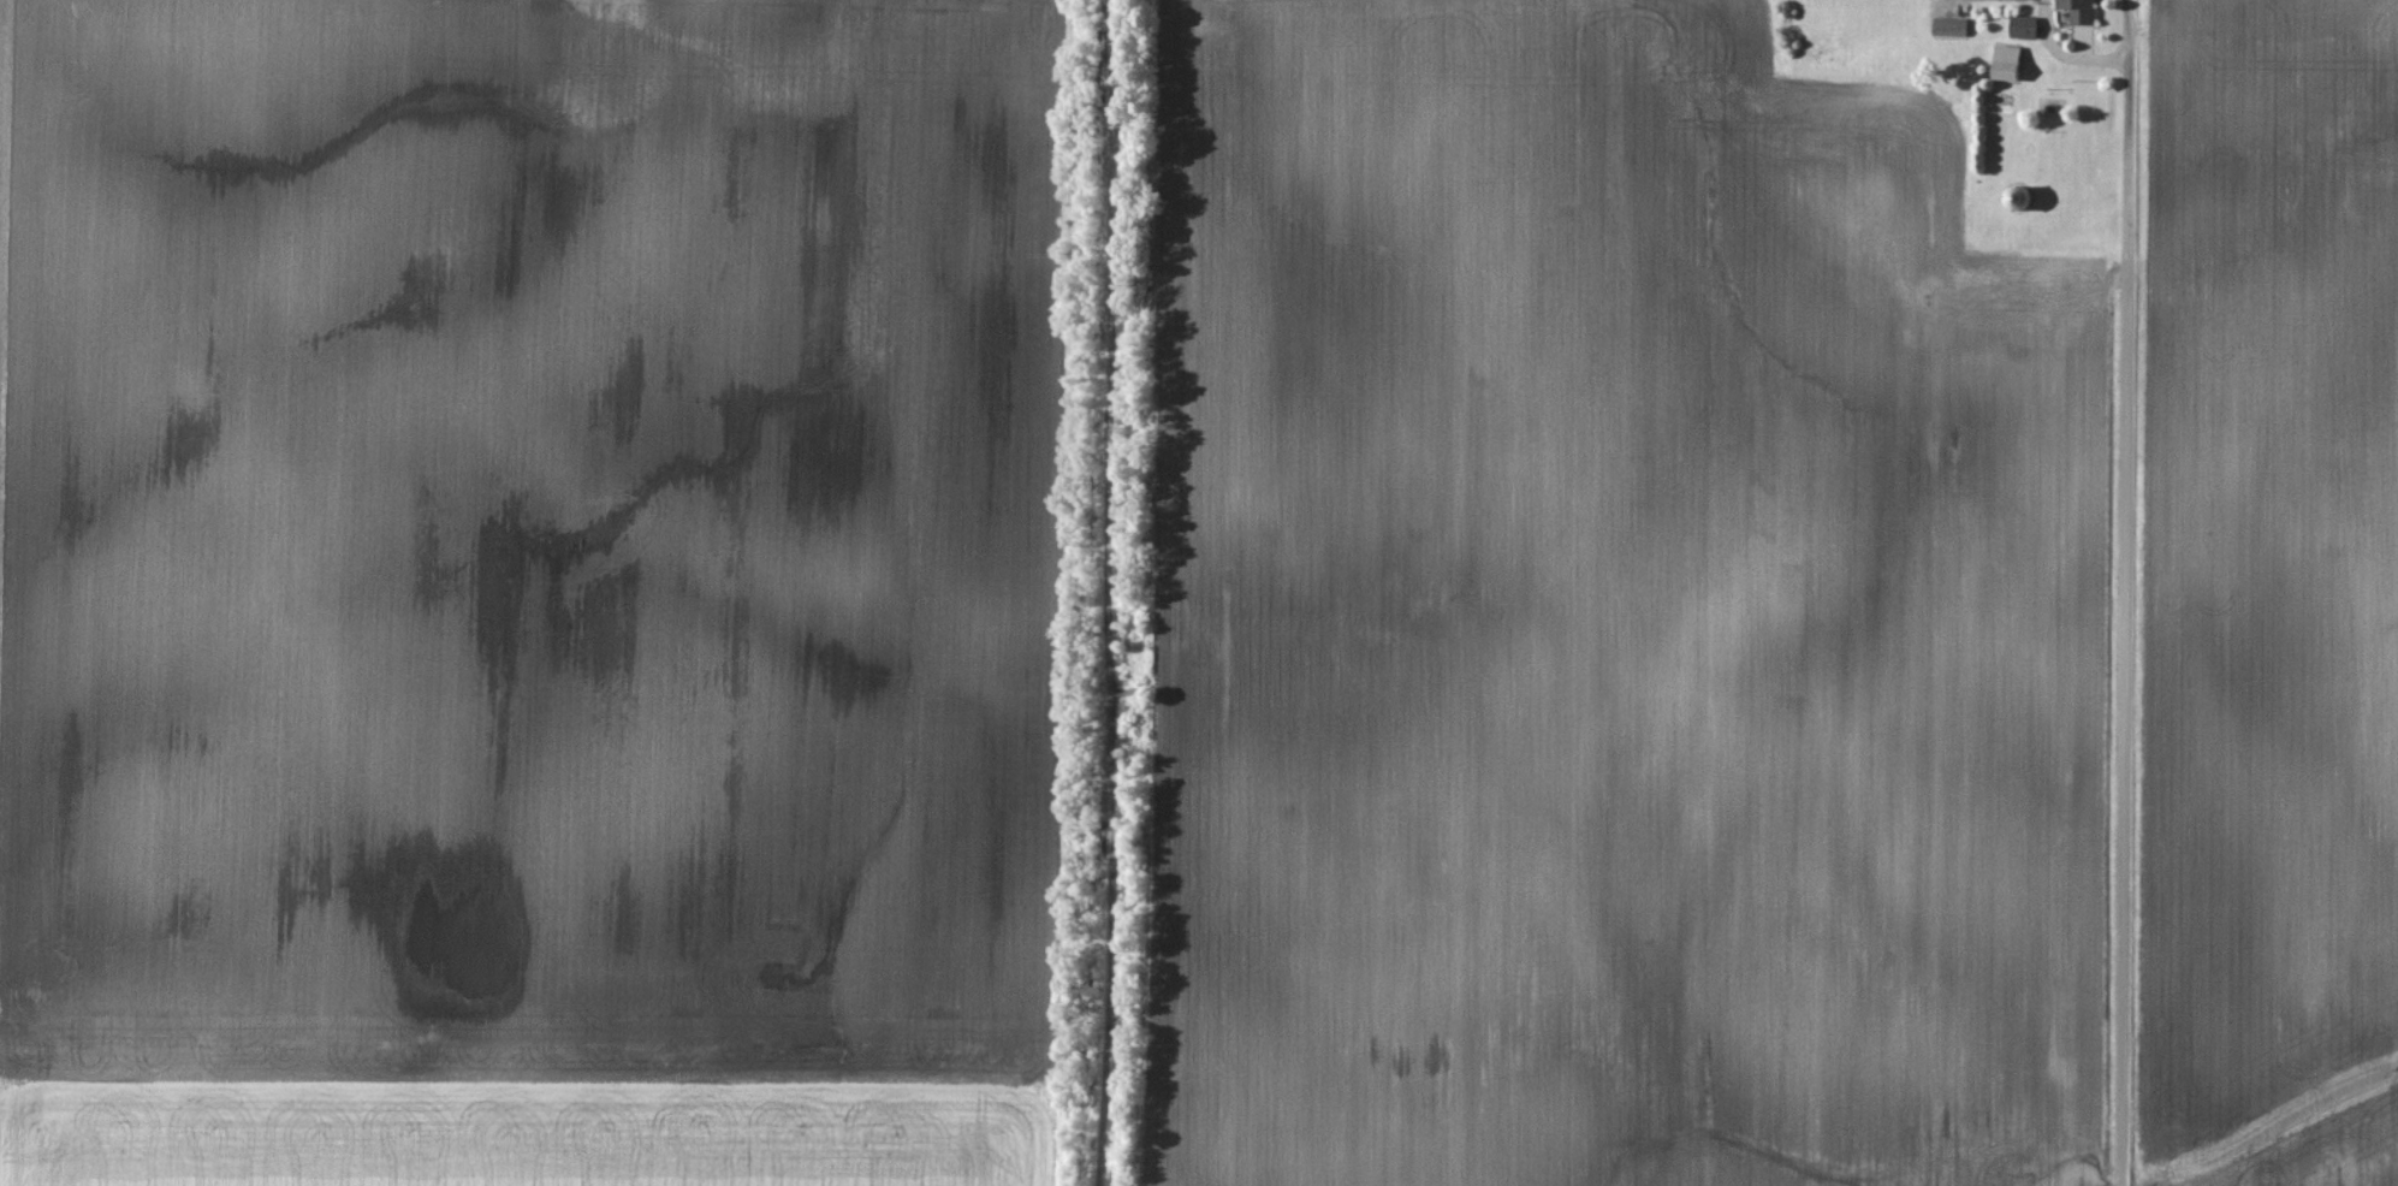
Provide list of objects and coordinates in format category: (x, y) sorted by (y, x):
road: (2129, 593)

